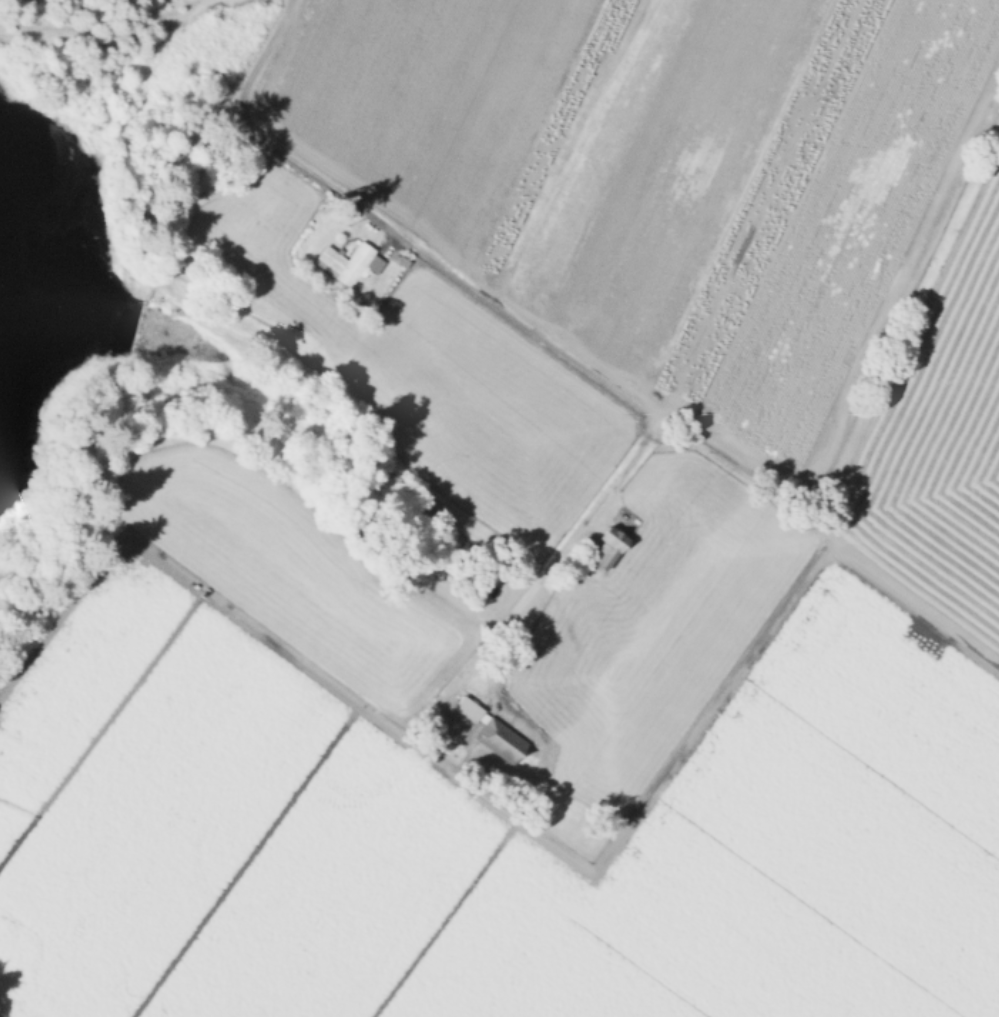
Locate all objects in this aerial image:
building: (348, 263)
road: (544, 339)
crop: (566, 539)
building: (609, 549)
building: (493, 732)

